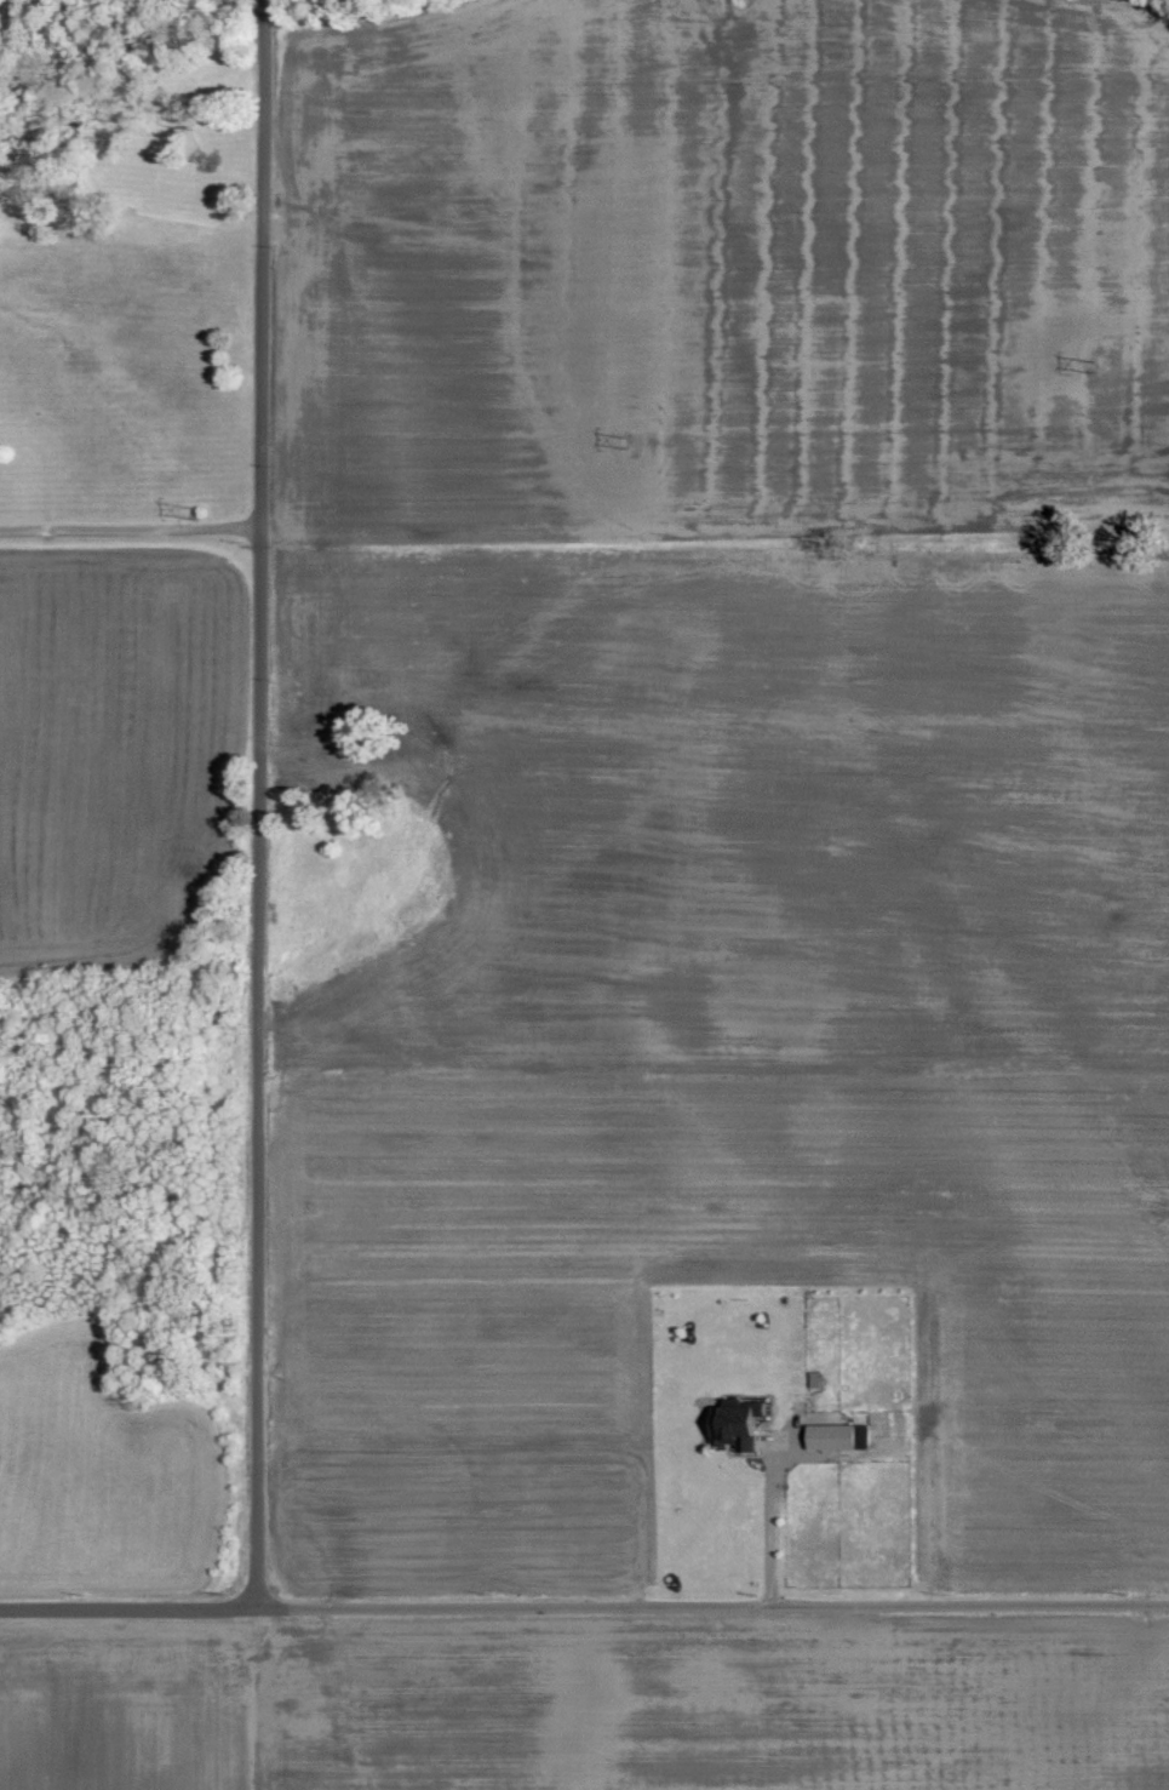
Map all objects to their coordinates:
road: (262, 805)
building: (734, 1429)
building: (835, 1439)
road: (584, 1609)

